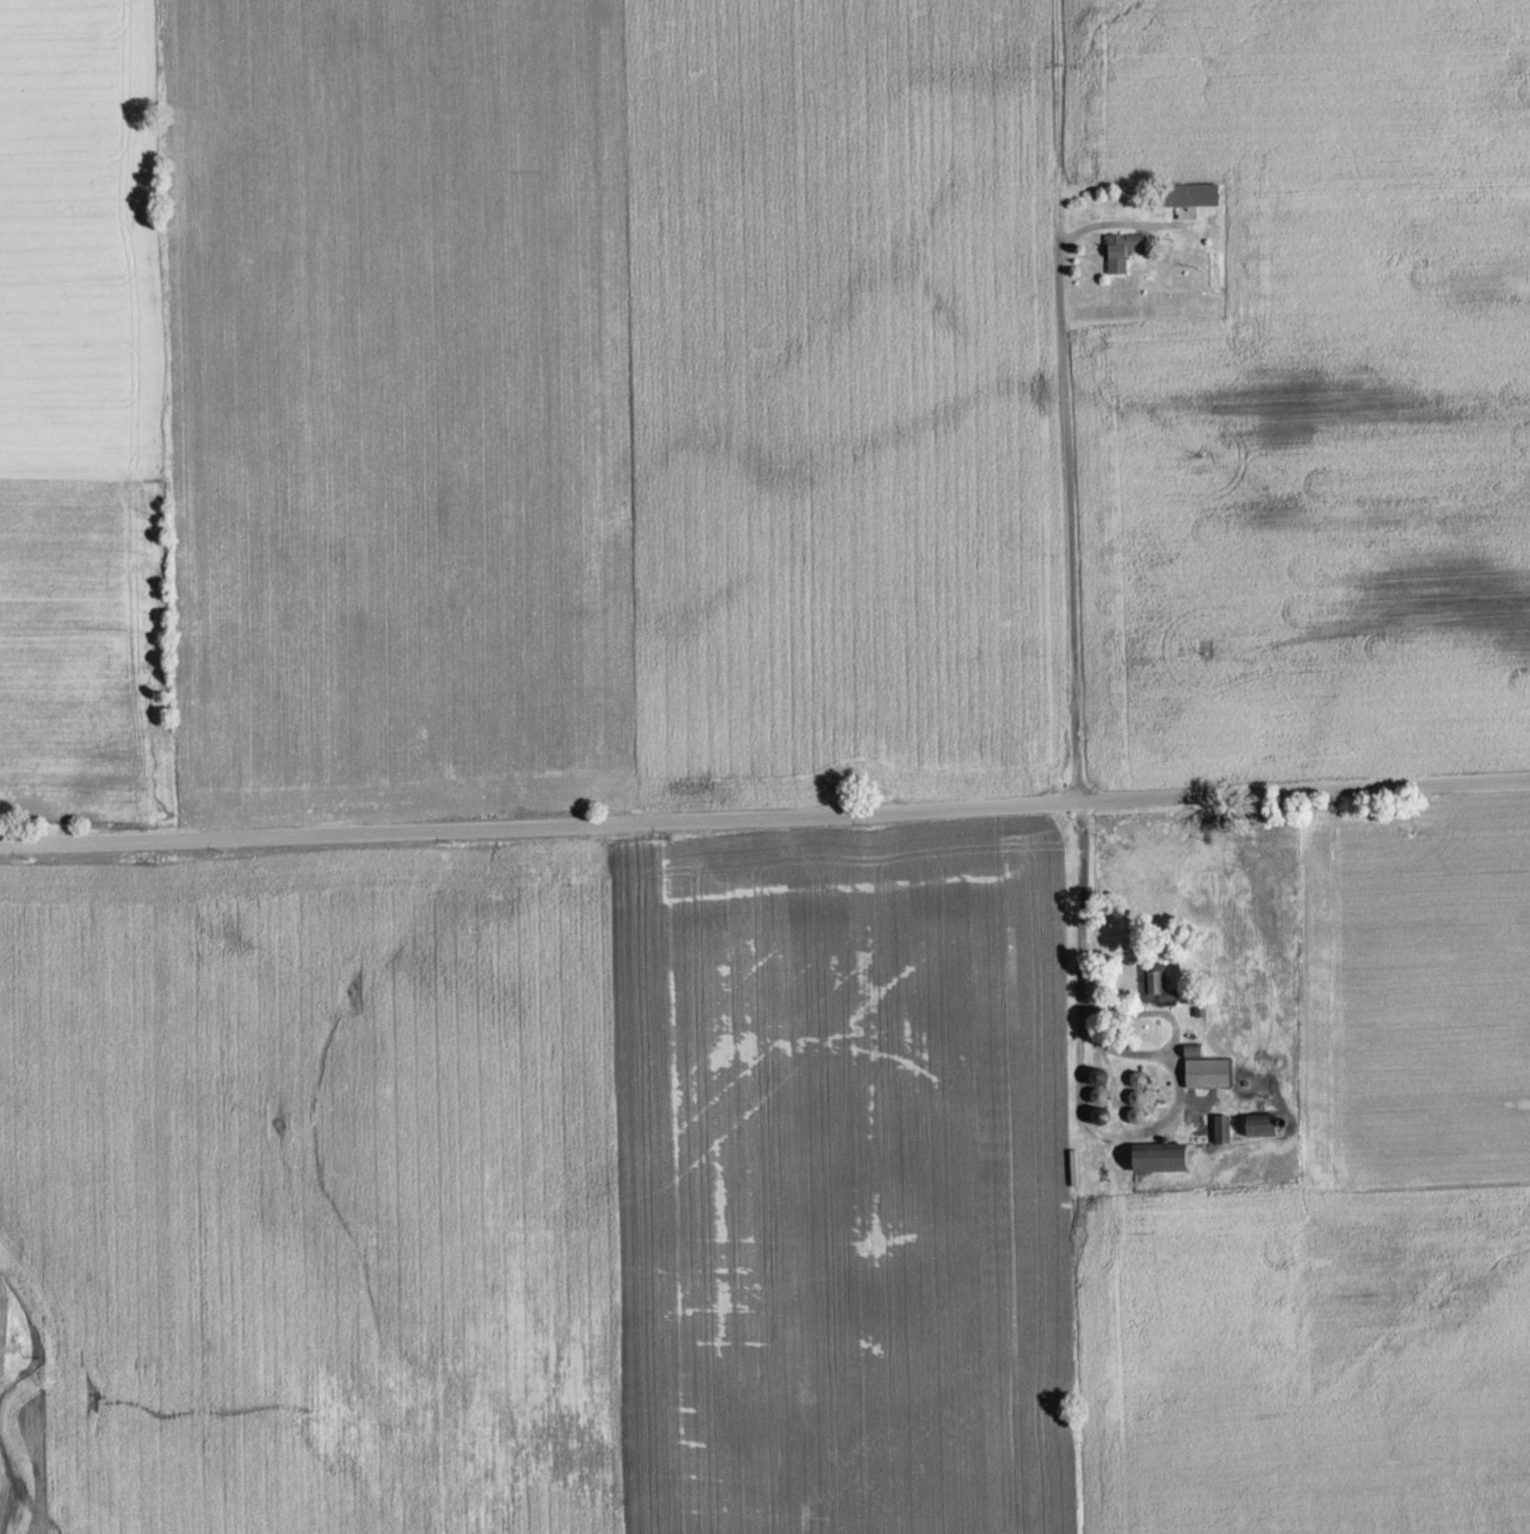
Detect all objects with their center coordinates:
building: (1190, 194)
building: (1120, 250)
road: (1071, 526)
road: (765, 813)
road: (1082, 910)
building: (1157, 986)
building: (1207, 1072)
road: (1159, 1125)
building: (1260, 1127)
building: (1222, 1128)

